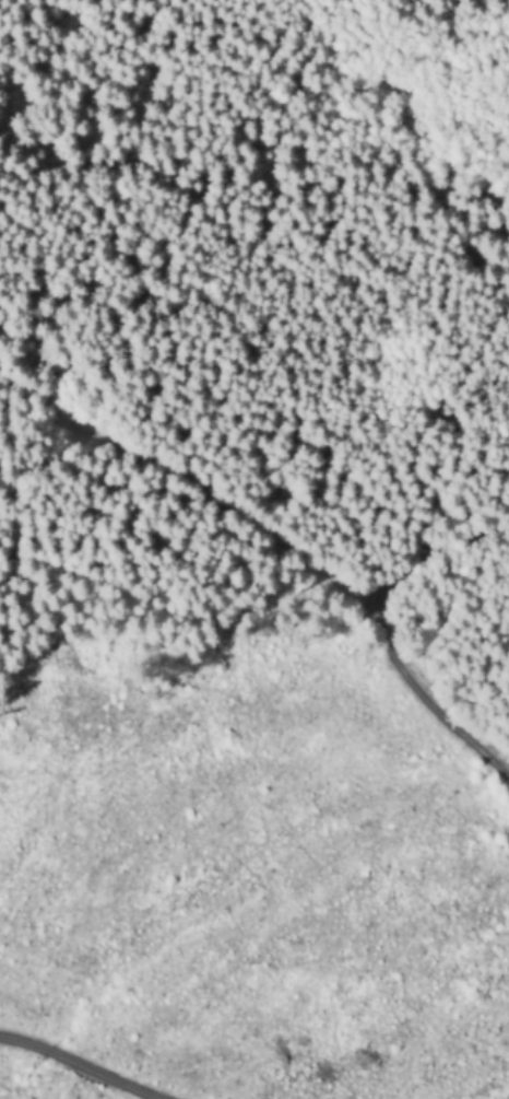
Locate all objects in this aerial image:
road: (80, 1055)

